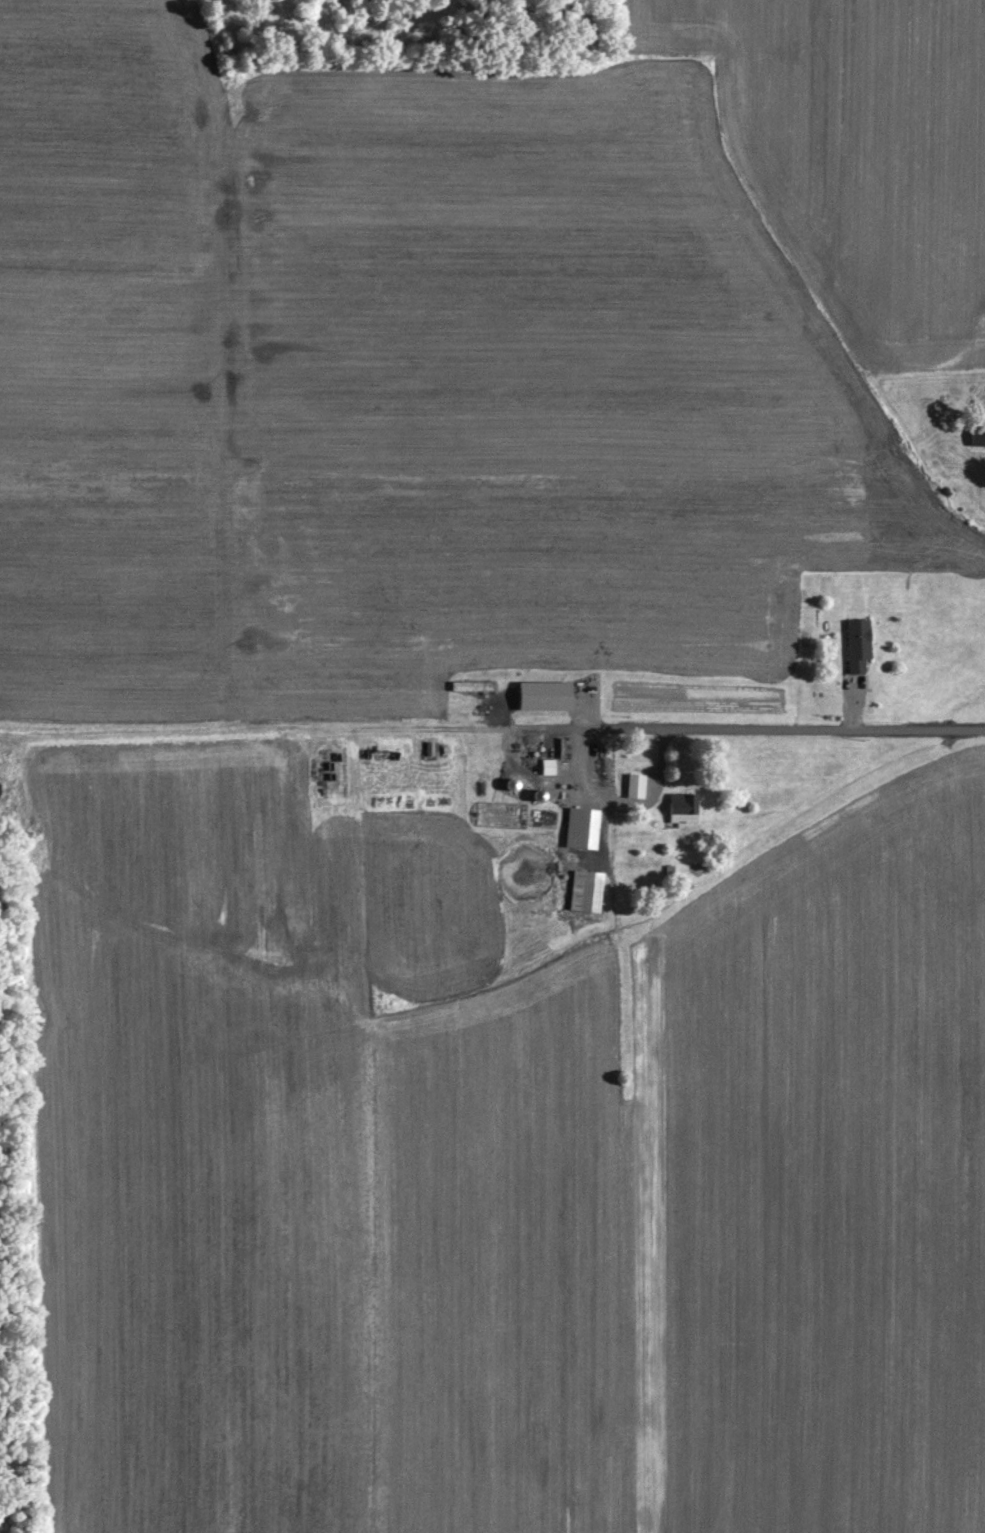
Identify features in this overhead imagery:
building: (973, 437)
building: (851, 649)
building: (537, 700)
road: (762, 727)
building: (542, 771)
building: (629, 790)
building: (676, 812)
building: (575, 832)
building: (579, 896)

